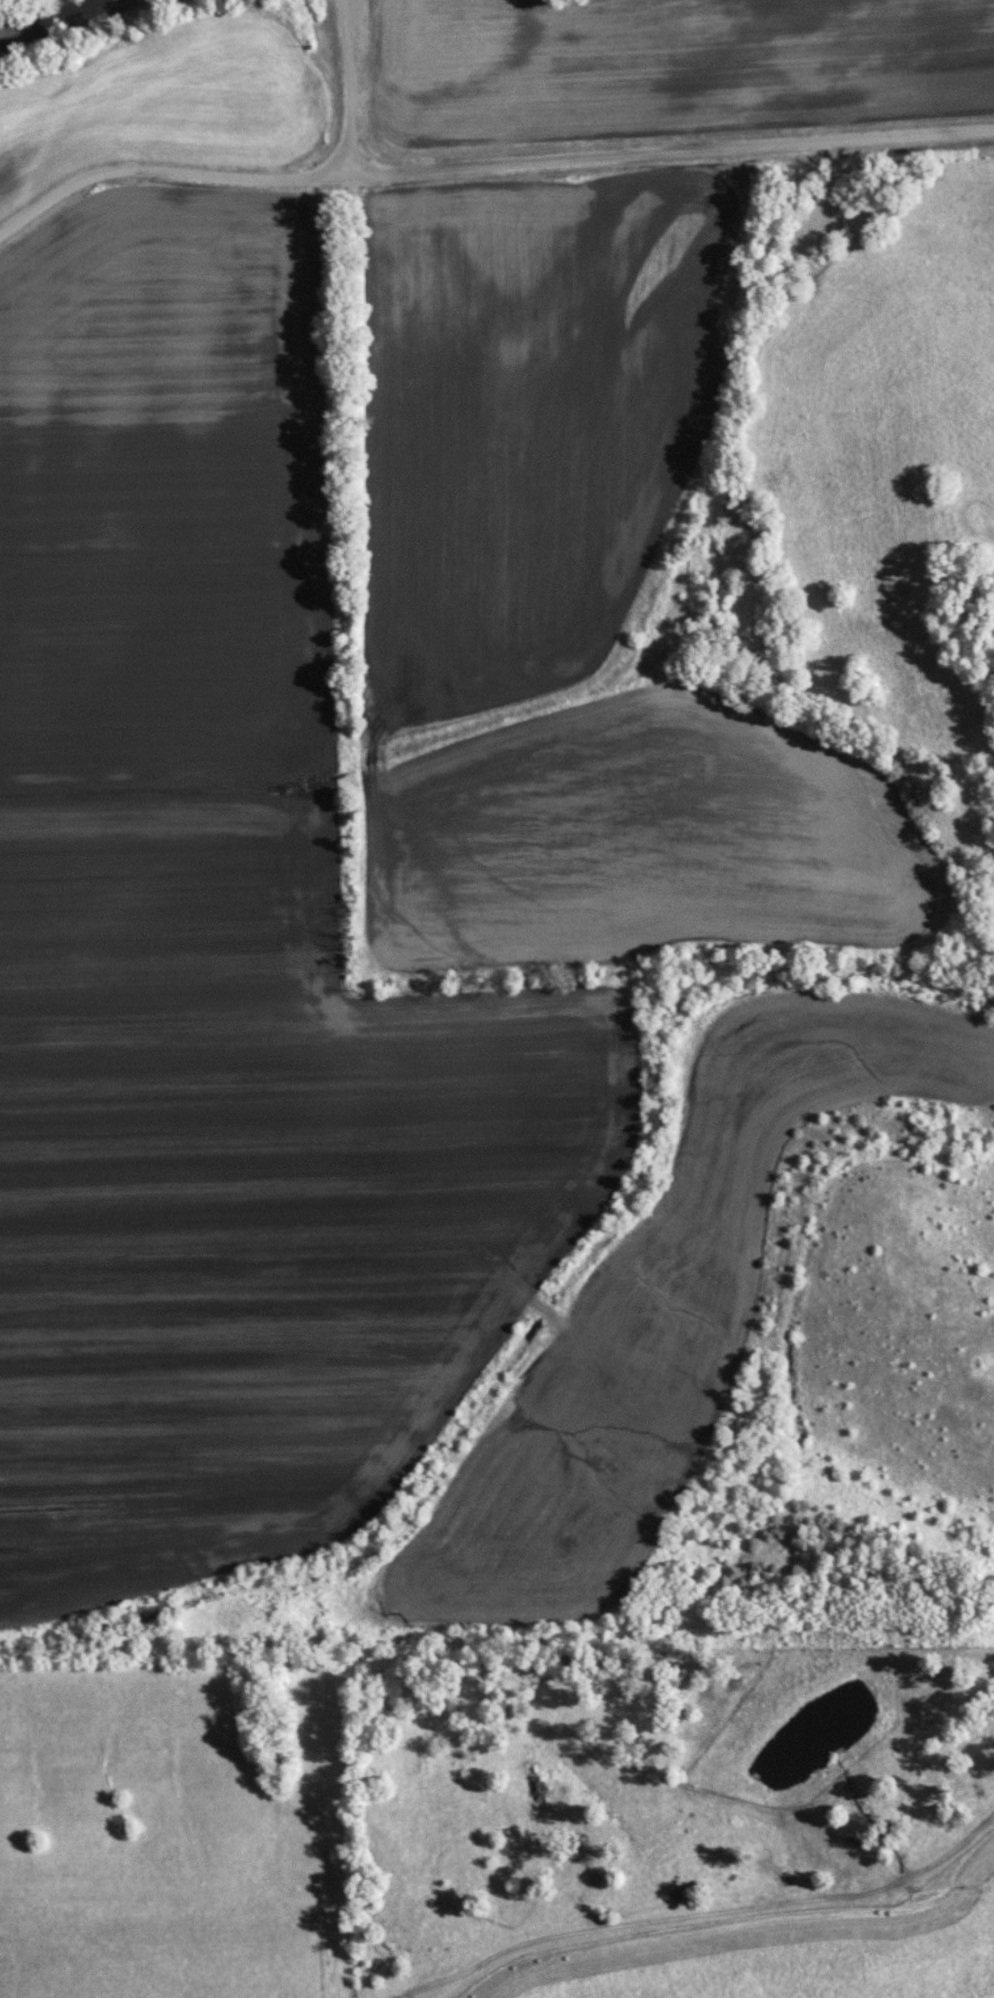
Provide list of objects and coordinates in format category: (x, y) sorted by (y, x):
road: (350, 85)
road: (672, 151)
road: (166, 171)

